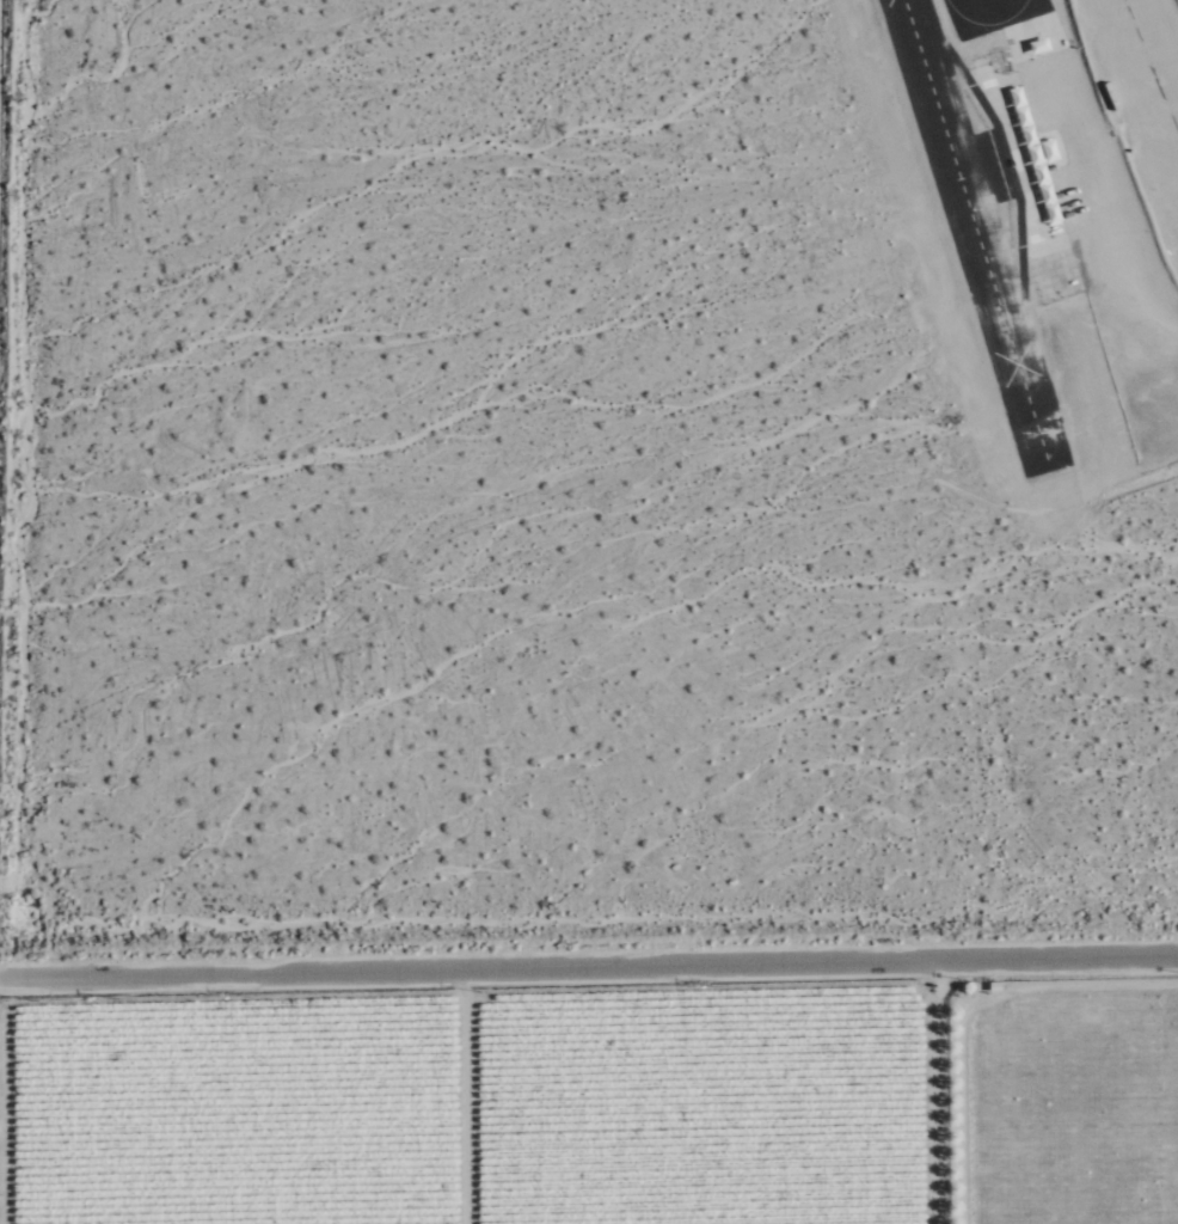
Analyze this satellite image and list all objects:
park: (992, 14)
building: (1038, 43)
building: (1010, 60)
building: (1111, 94)
building: (1016, 96)
parking lot: (1139, 104)
building: (1021, 115)
flagpole: (1042, 130)
building: (1027, 134)
building: (1049, 148)
building: (1033, 153)
building: (1039, 172)
building: (1045, 191)
road: (1103, 207)
building: (1053, 210)
road: (1139, 440)
road: (588, 969)
road: (935, 1093)

